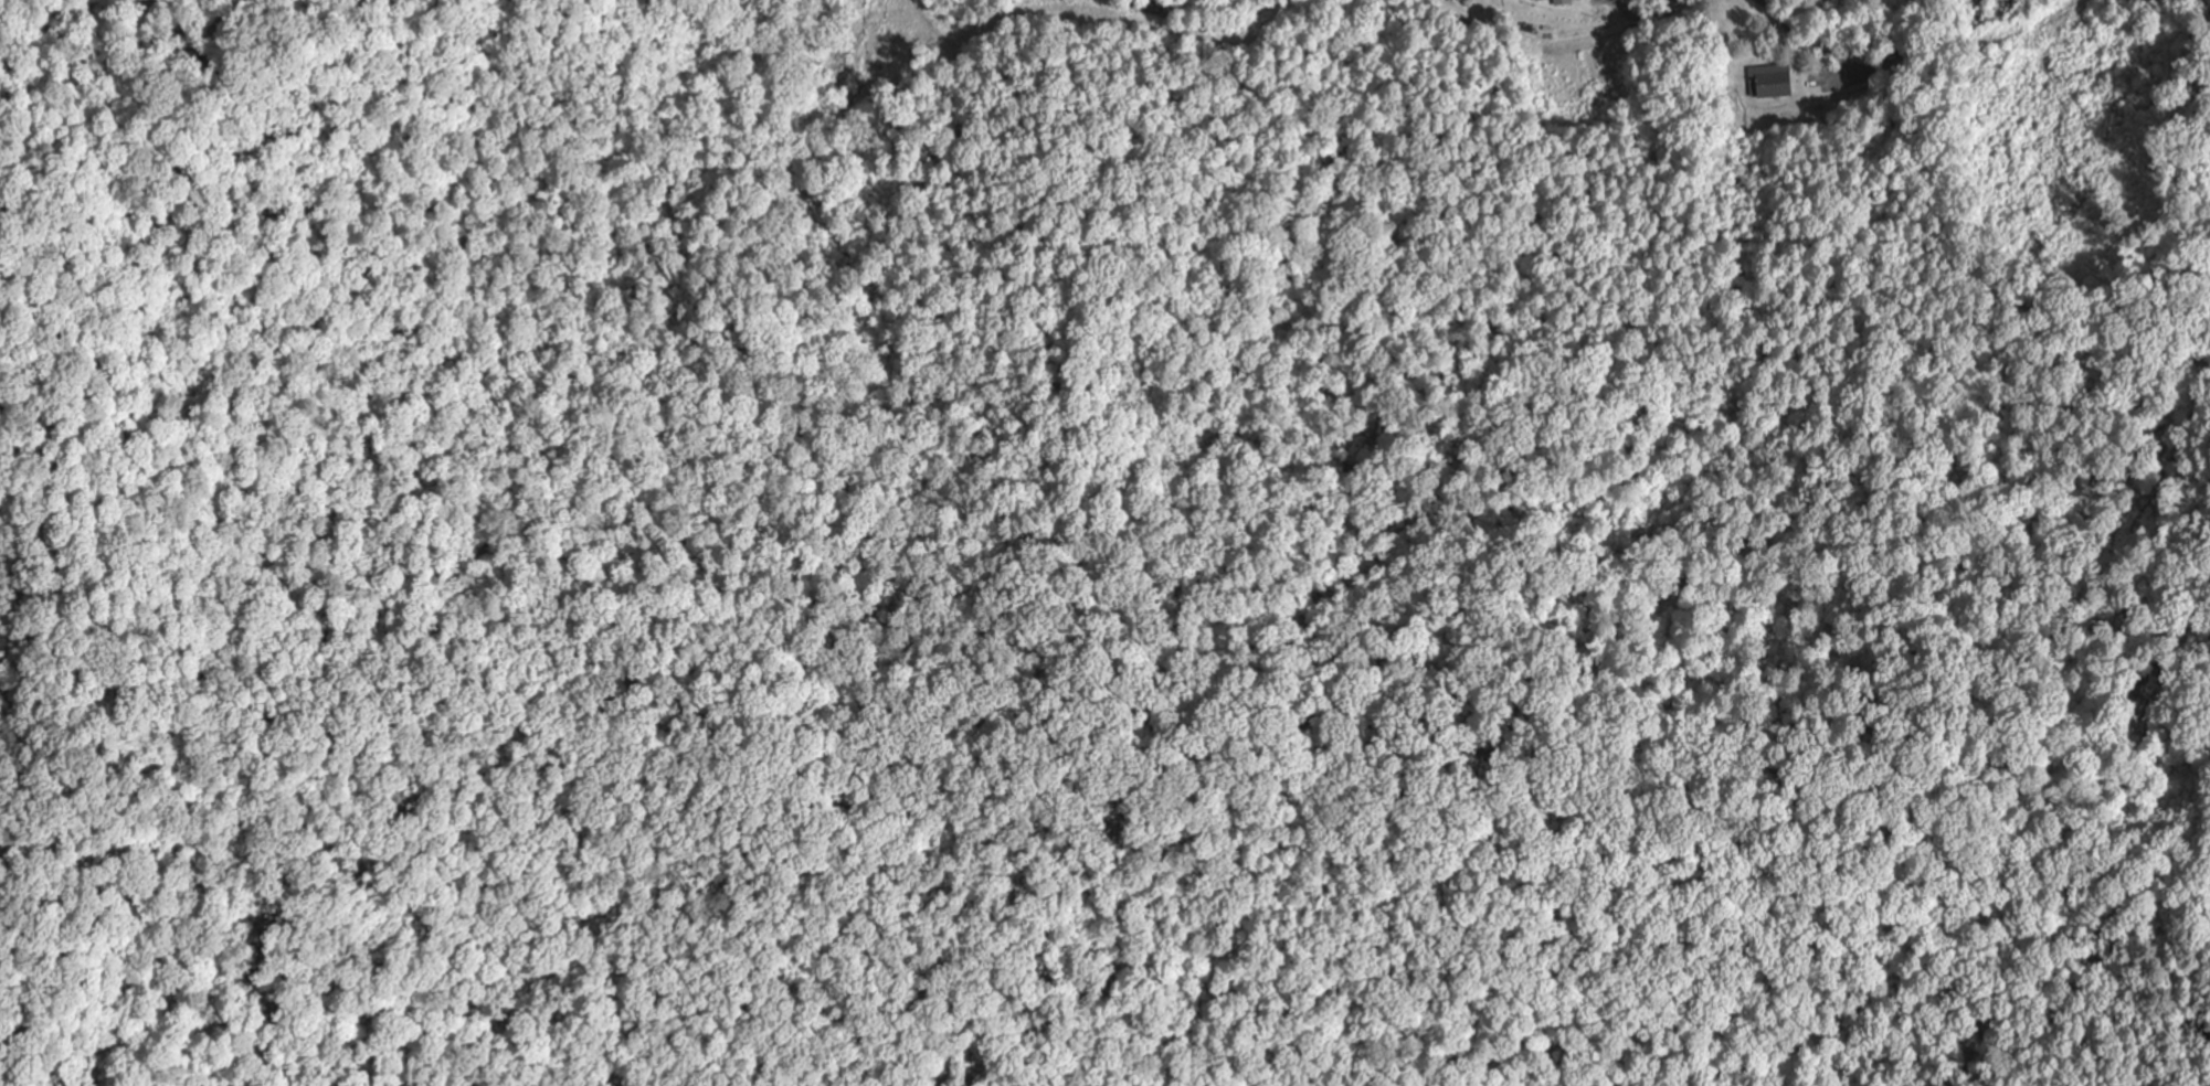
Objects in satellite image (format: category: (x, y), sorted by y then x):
building: (1459, 0)
building: (1538, 0)
building: (1563, 2)
building: (1770, 83)

